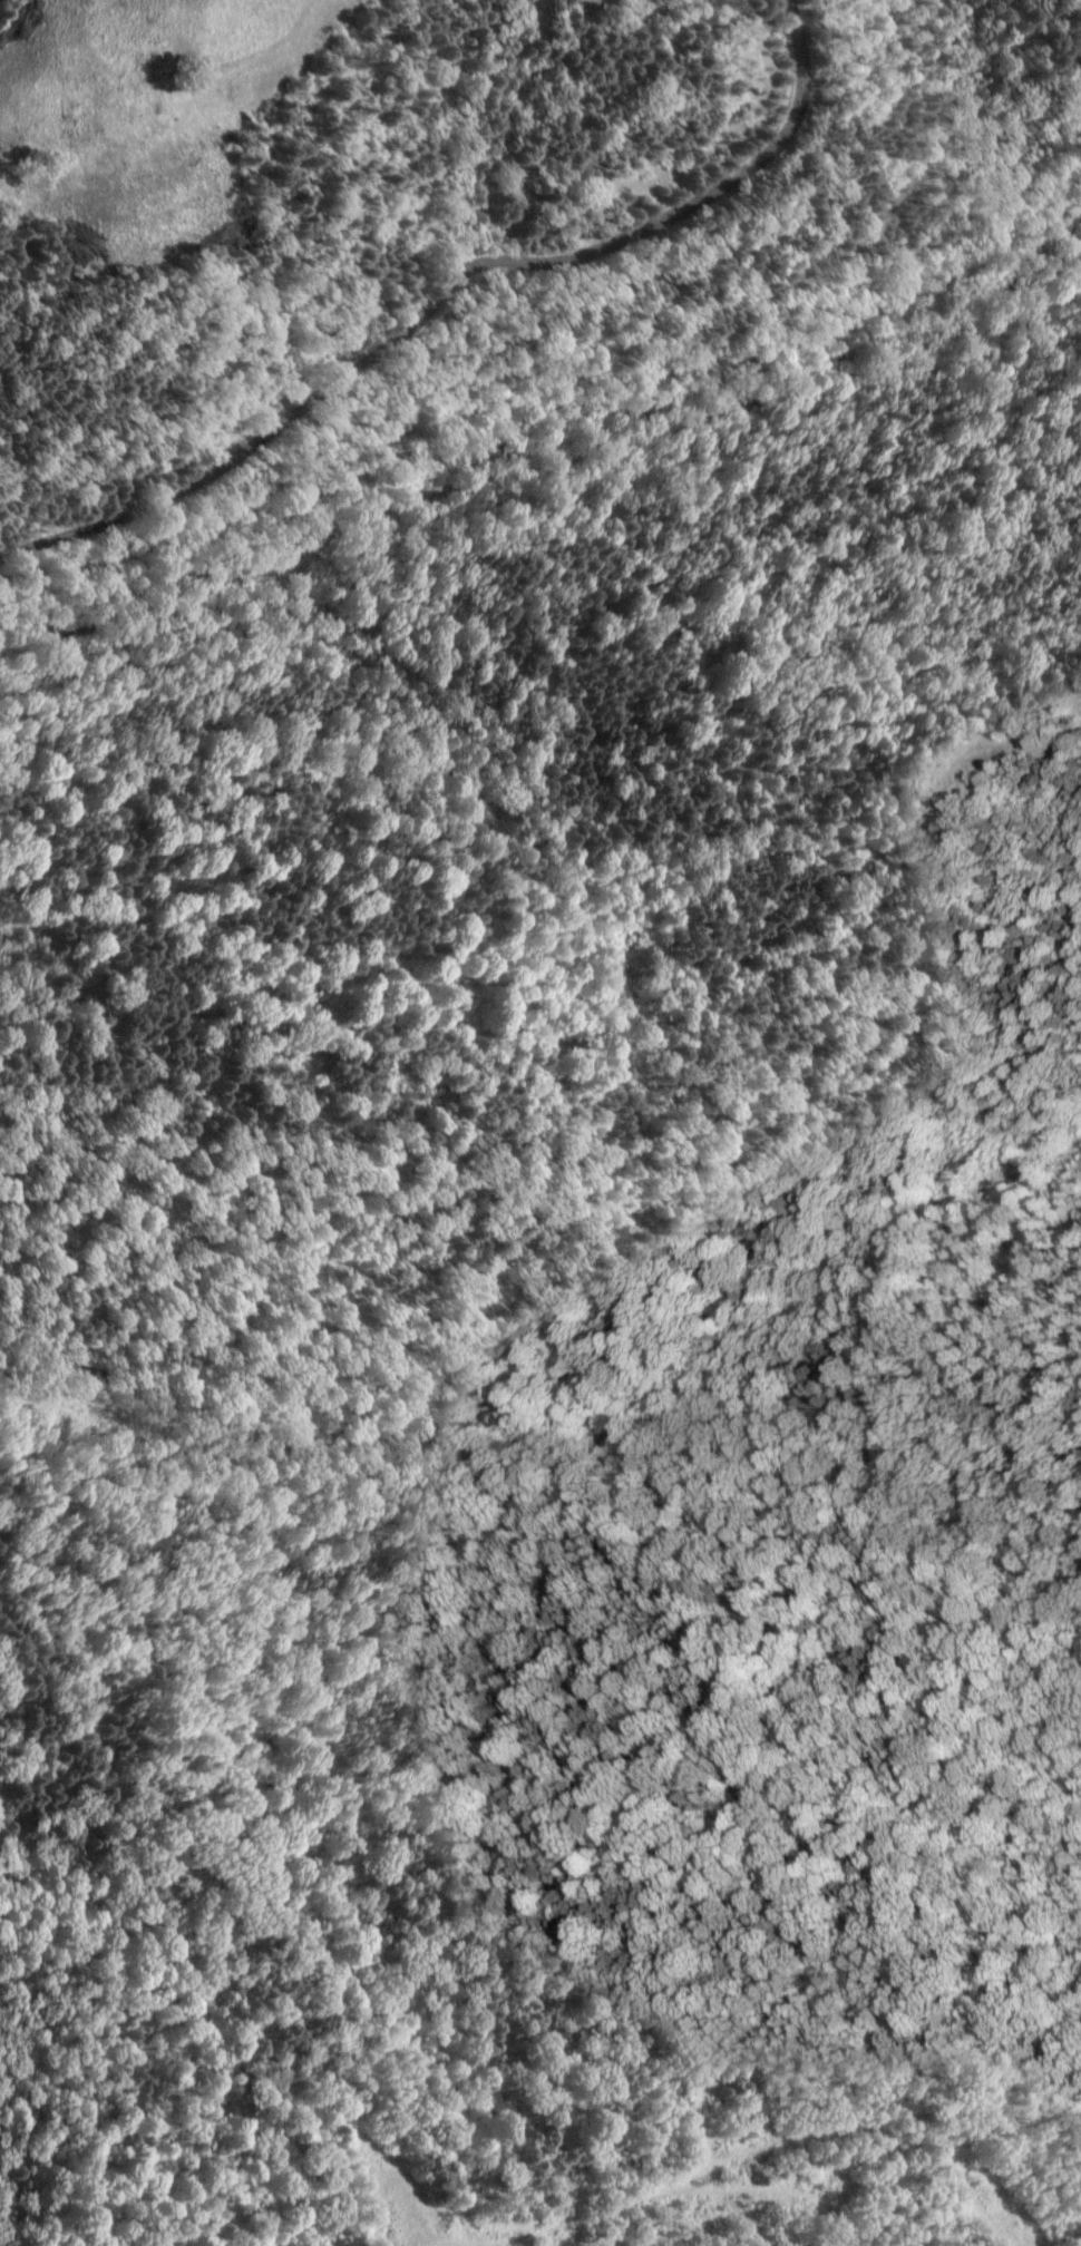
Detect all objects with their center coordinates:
road: (460, 306)

